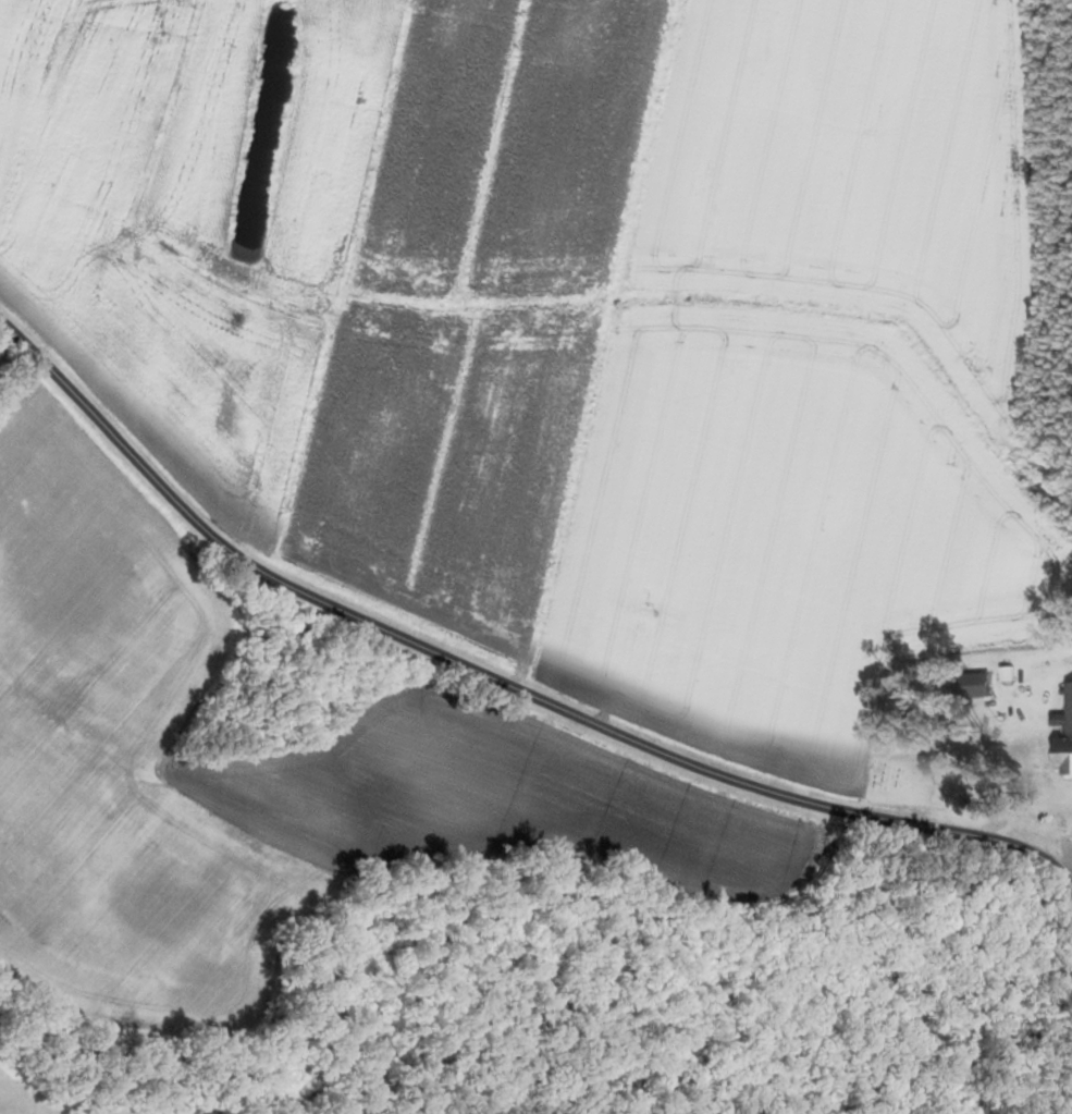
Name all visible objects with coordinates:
building: (974, 684)
road: (496, 685)
building: (1064, 737)
park: (927, 759)

